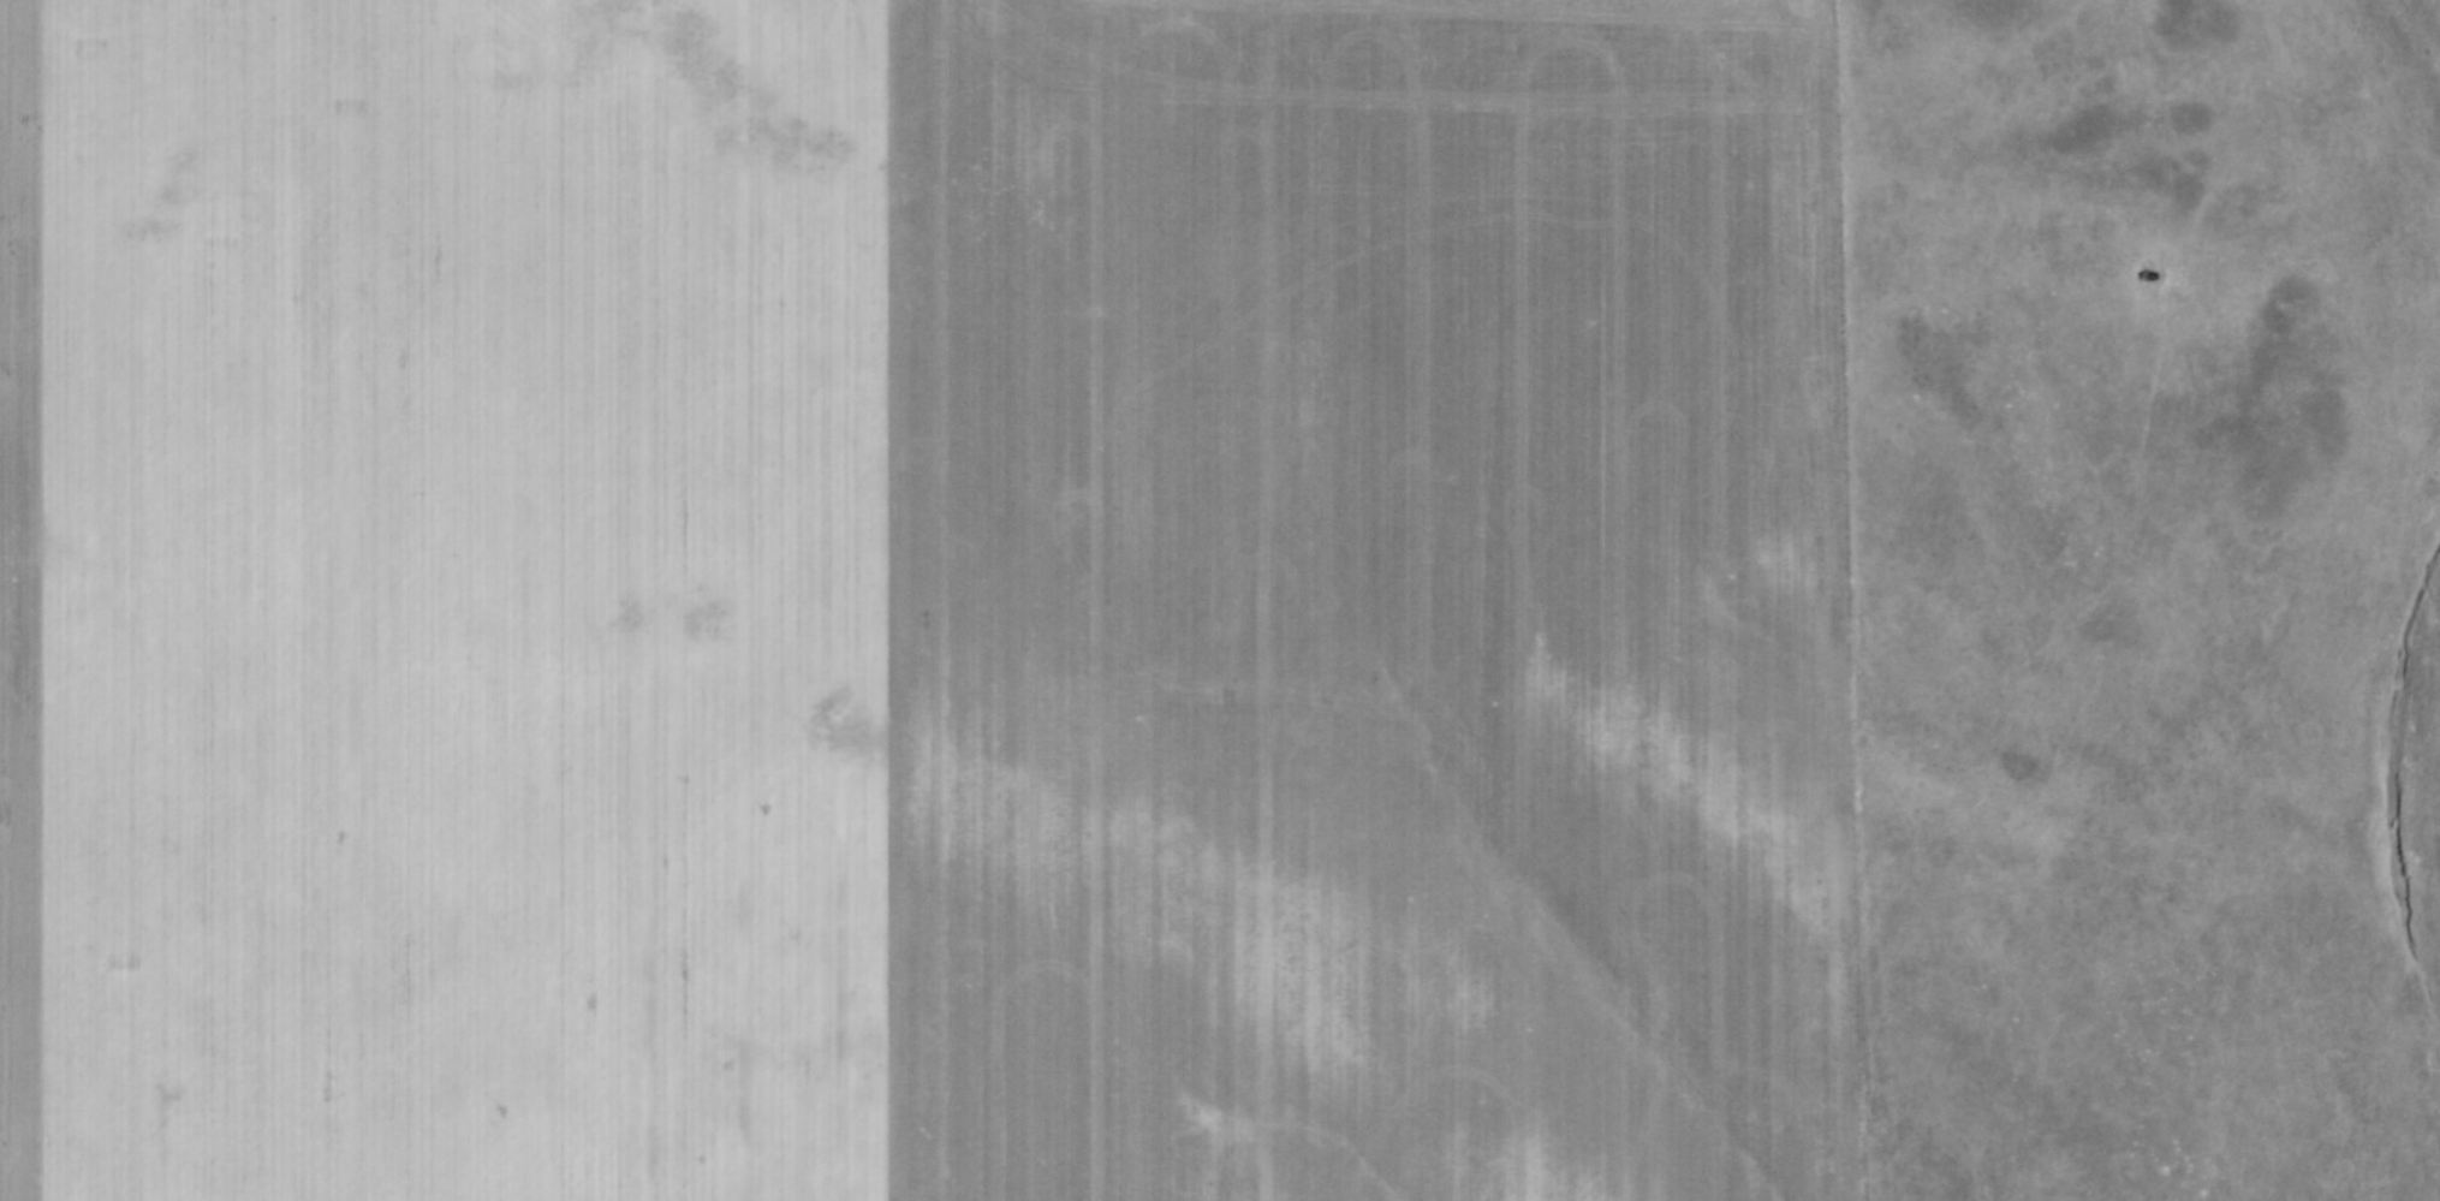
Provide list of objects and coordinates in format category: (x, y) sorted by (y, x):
crop: (916, 601)

